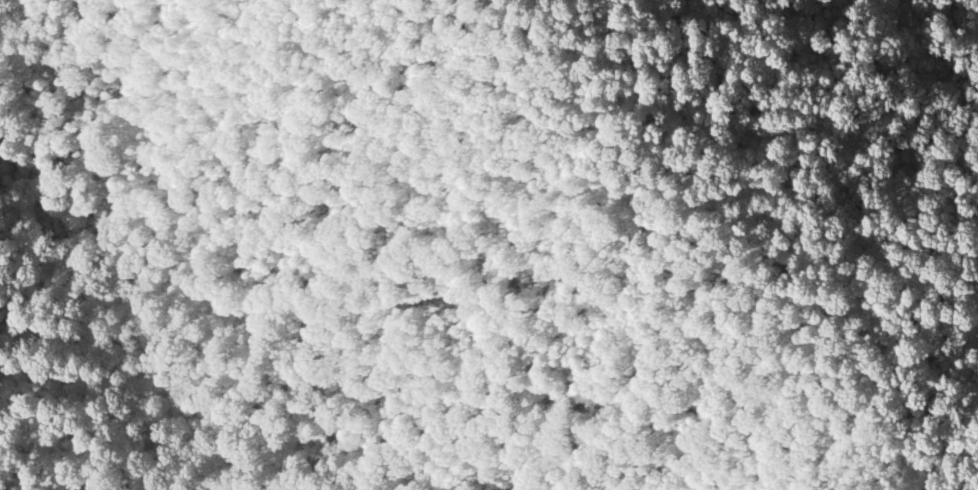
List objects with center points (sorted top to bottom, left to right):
road: (441, 91)

